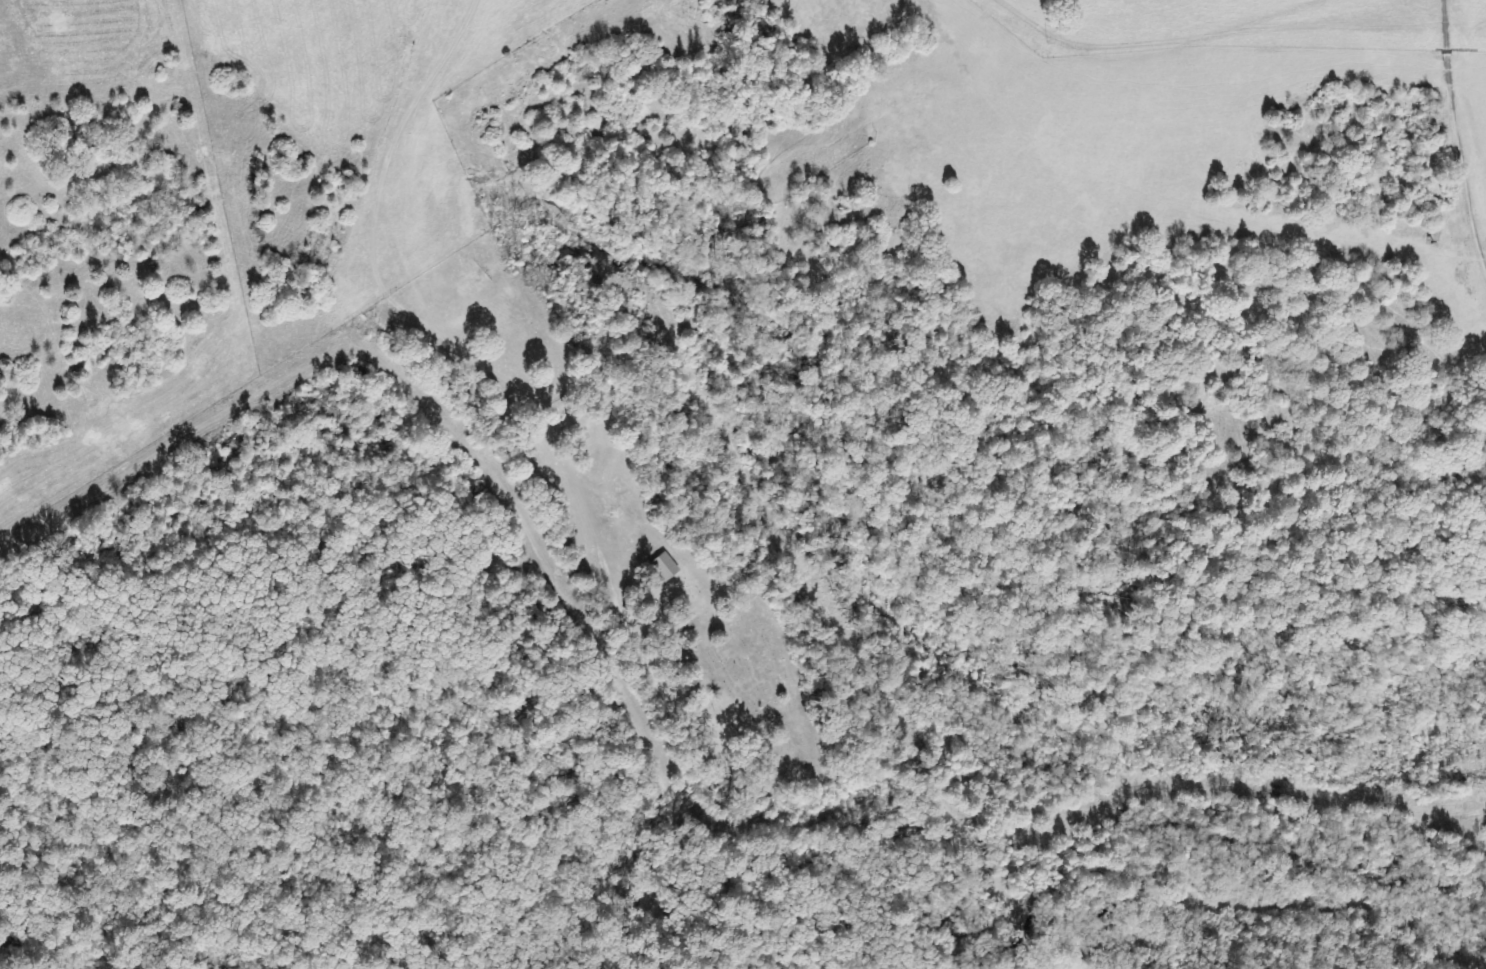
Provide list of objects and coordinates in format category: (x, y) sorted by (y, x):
road: (1030, 22)
road: (1158, 30)
road: (171, 312)
road: (407, 315)
building: (665, 566)
park: (739, 687)

